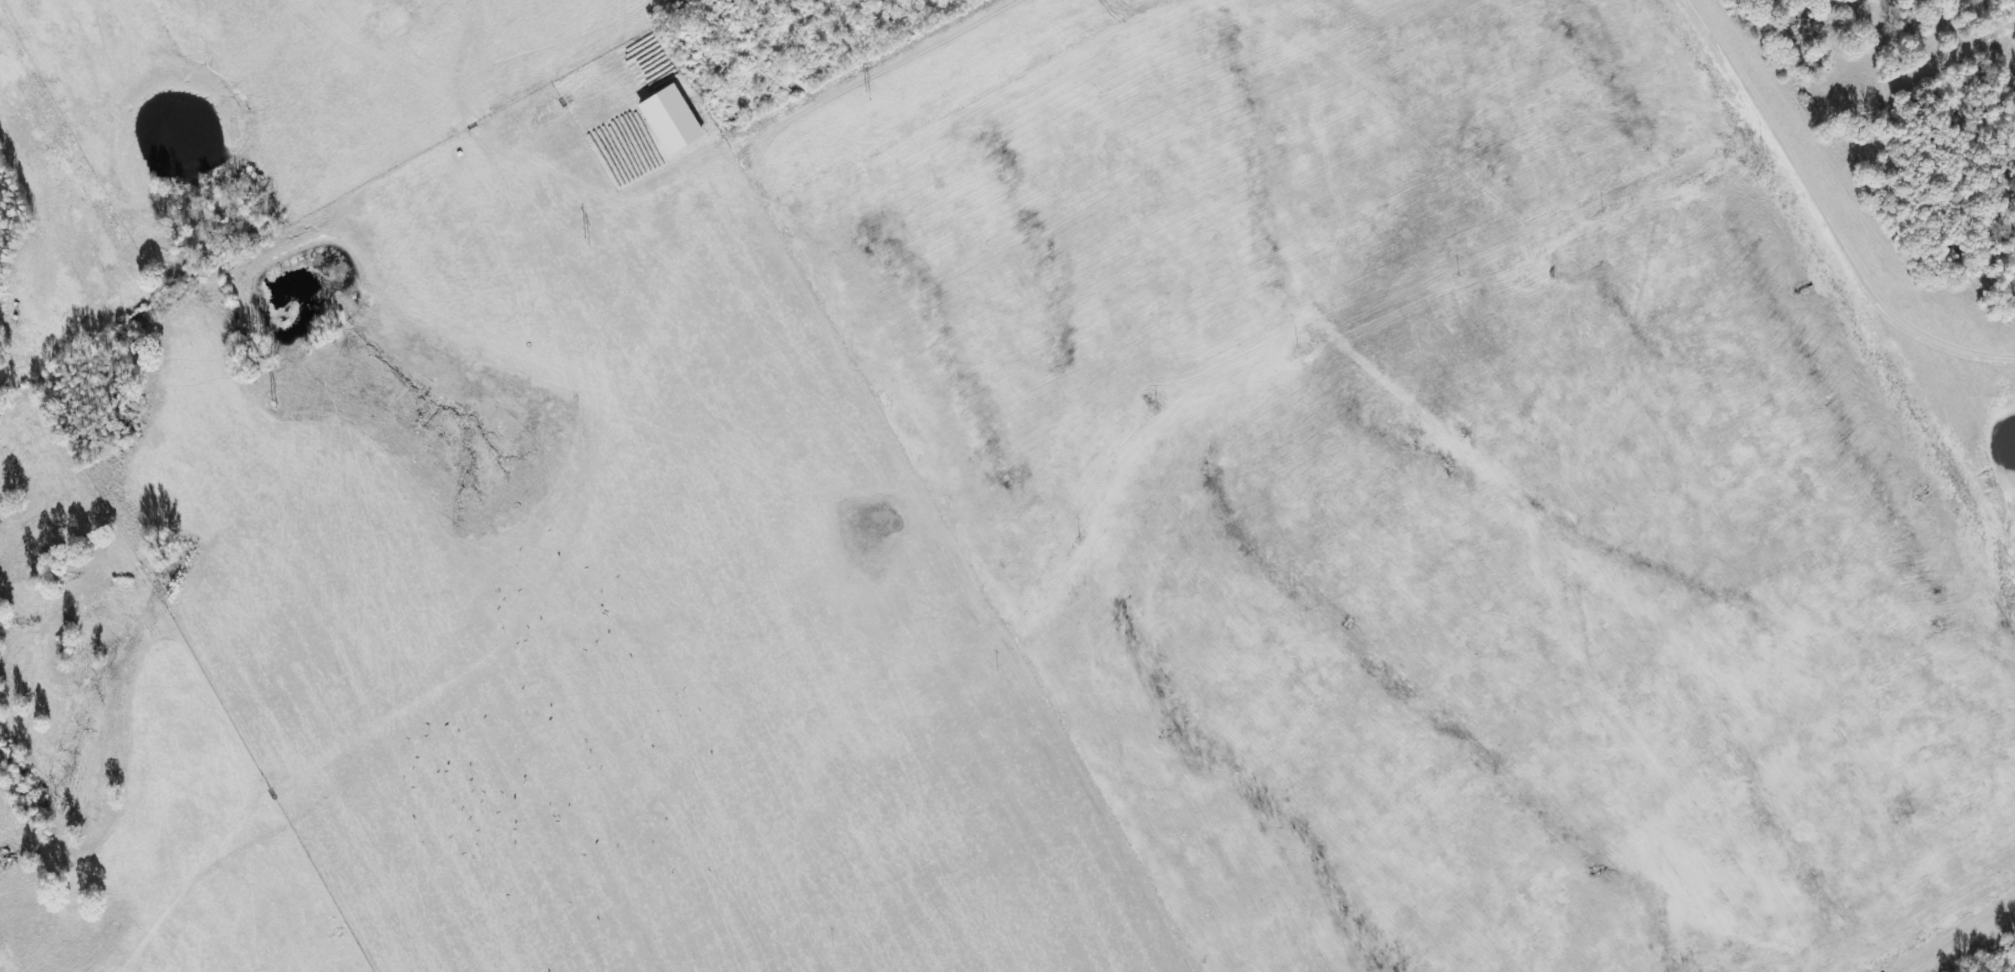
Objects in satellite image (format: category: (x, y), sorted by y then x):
power tower: (864, 94)
building: (671, 120)
power tower: (580, 243)
power tower: (274, 402)
road: (1947, 934)

